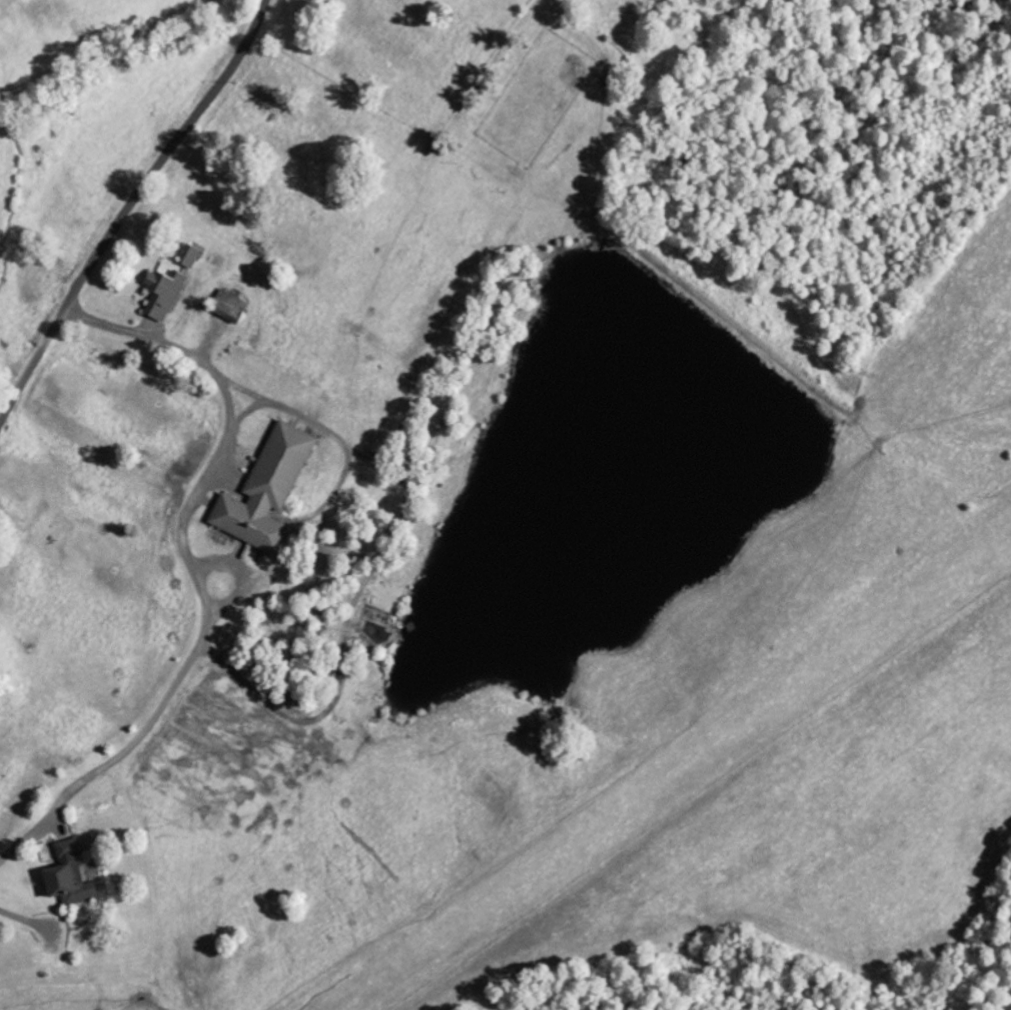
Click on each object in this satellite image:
road: (129, 208)
building: (160, 295)
building: (227, 307)
building: (263, 492)
airport runway: (667, 773)
building: (64, 878)

